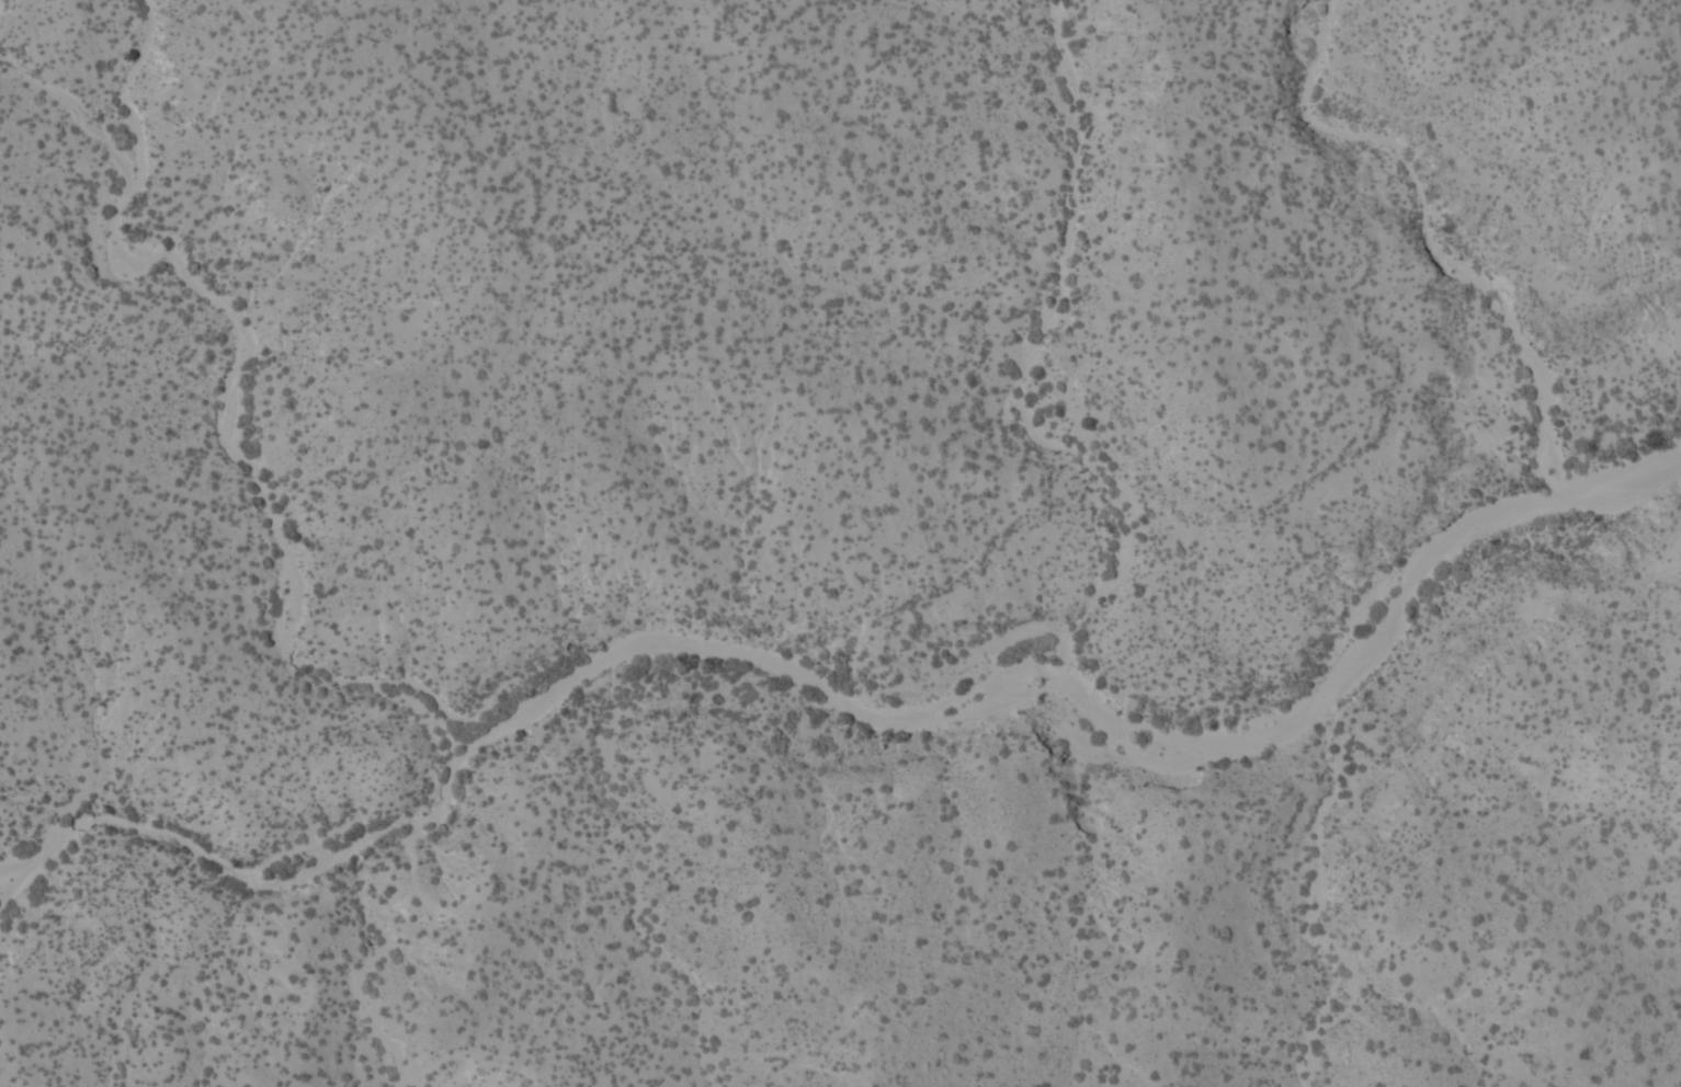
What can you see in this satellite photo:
road: (1609, 193)

